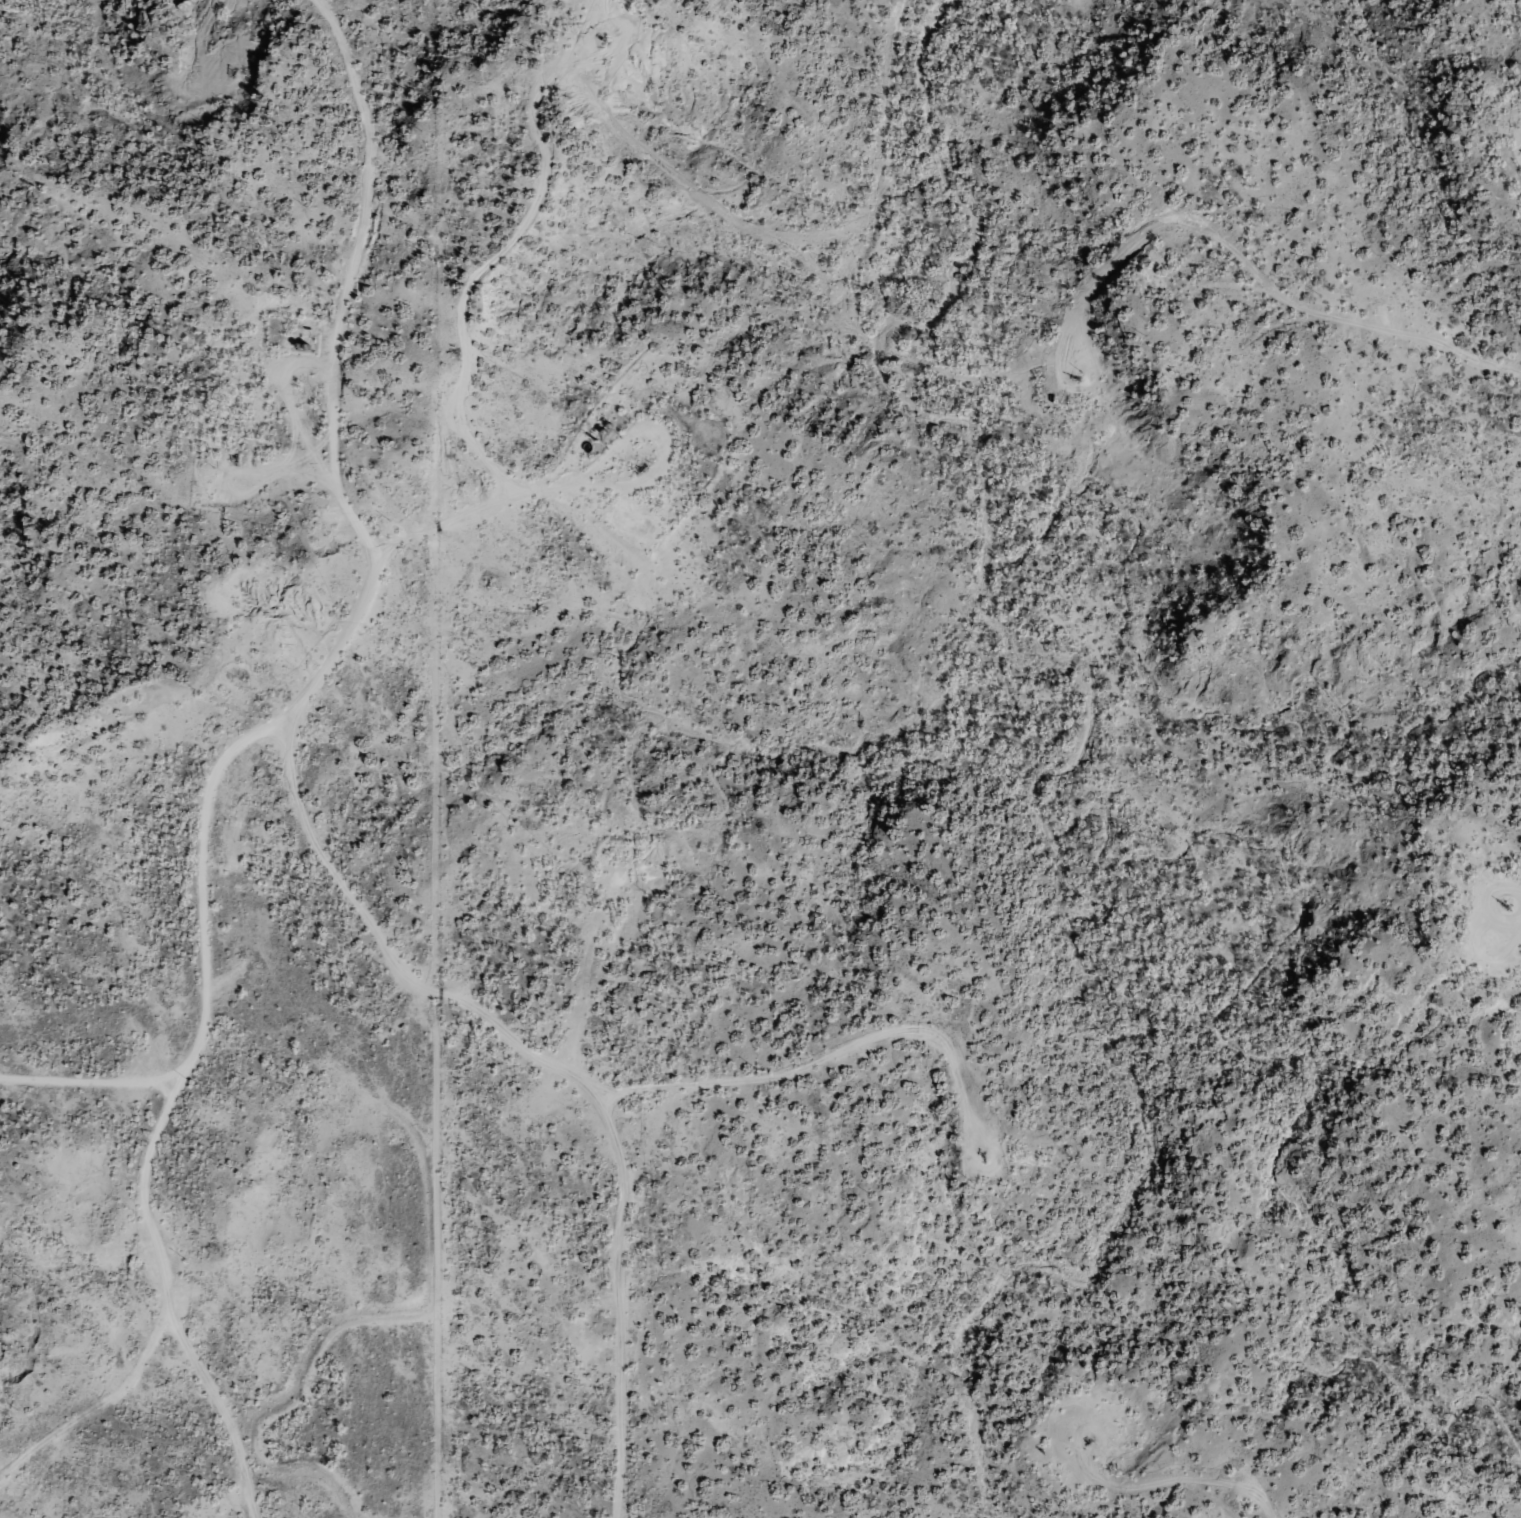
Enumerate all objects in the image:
road: (882, 163)
road: (983, 384)
road: (249, 730)
road: (625, 1149)
road: (70, 1202)

